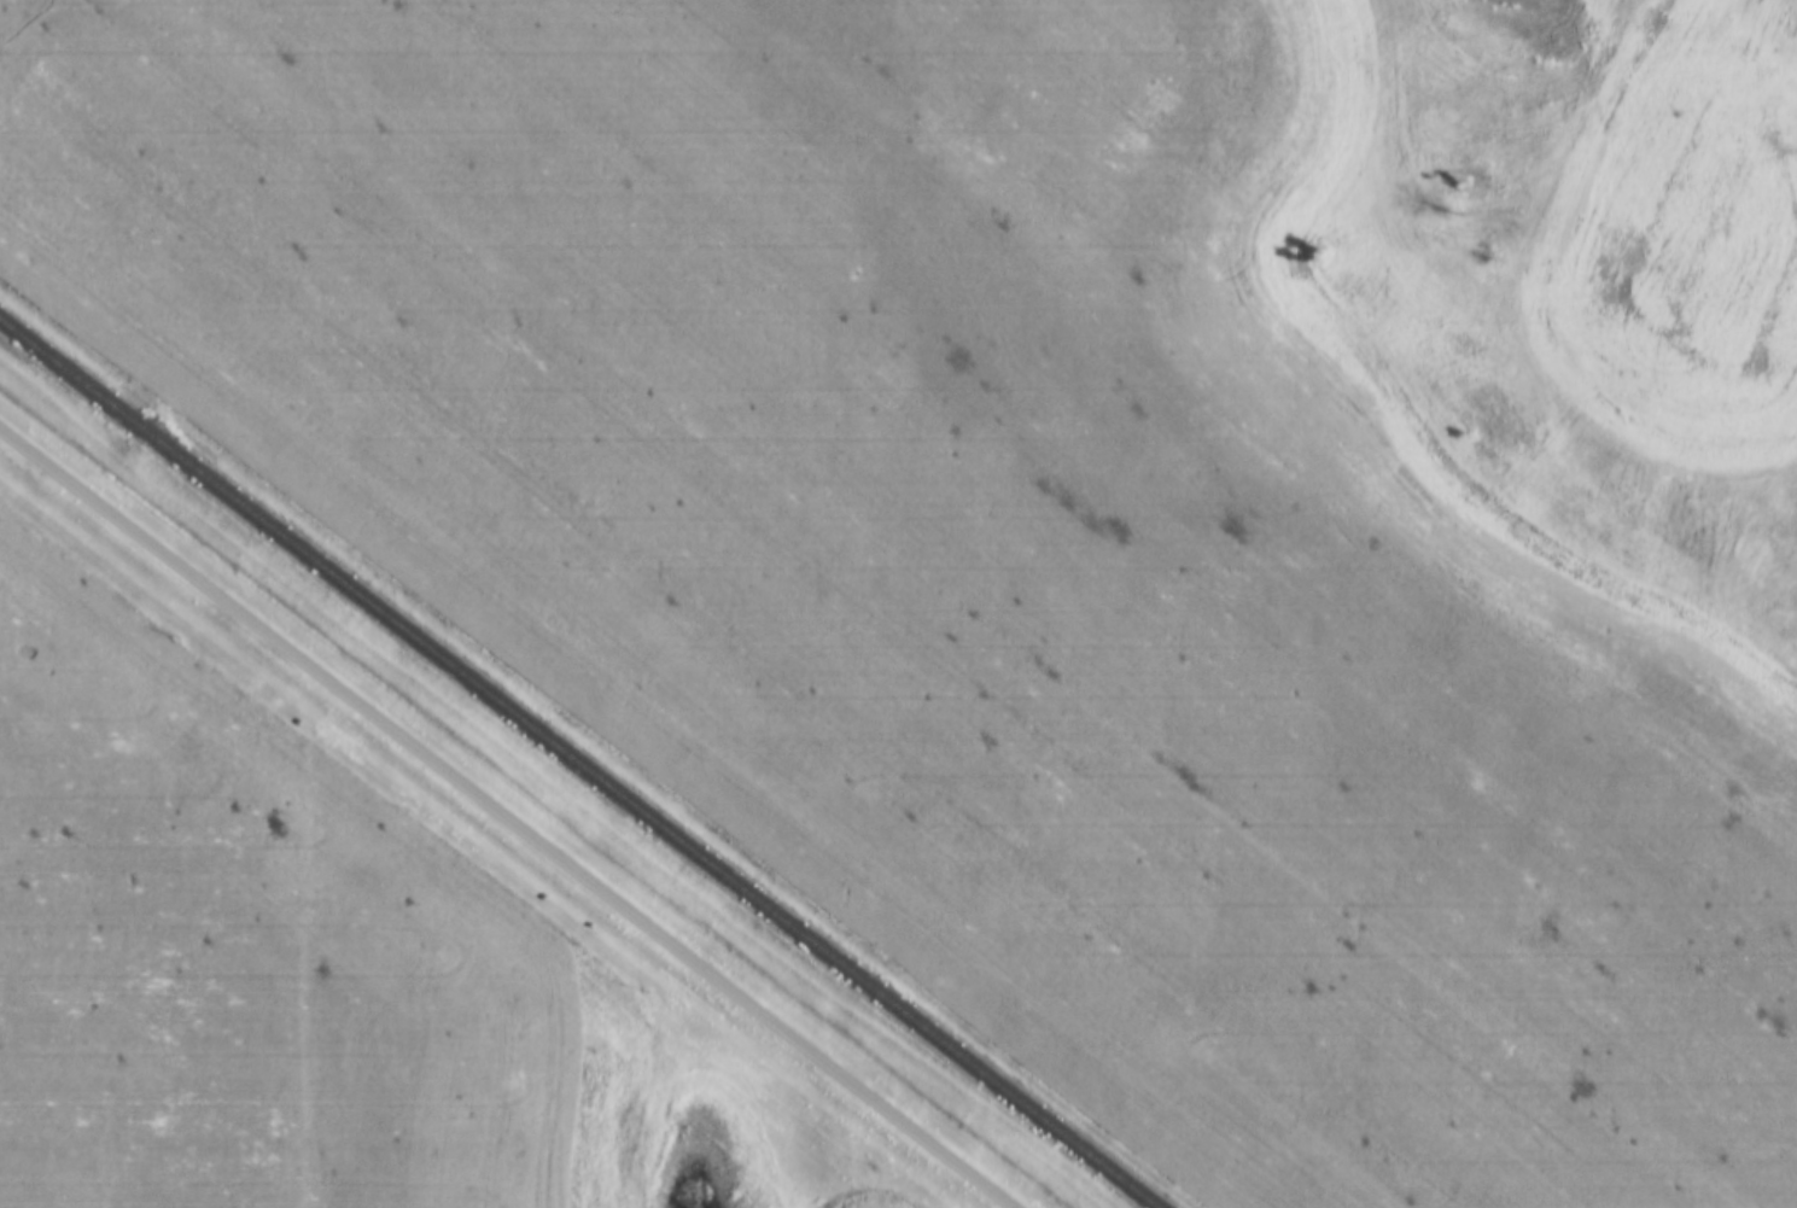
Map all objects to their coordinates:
railway: (577, 765)
road: (506, 818)

